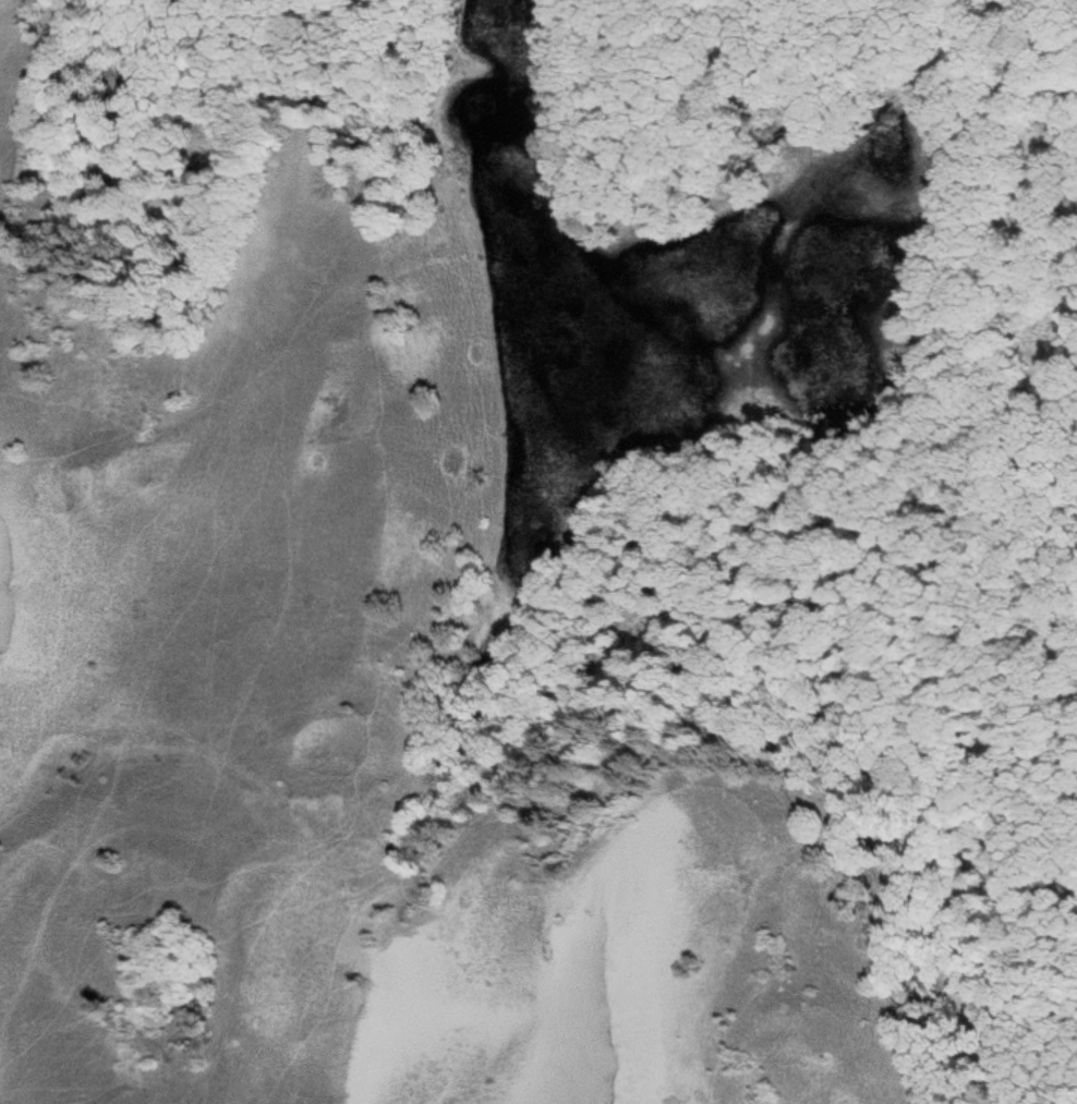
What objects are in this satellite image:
park: (538, 551)

